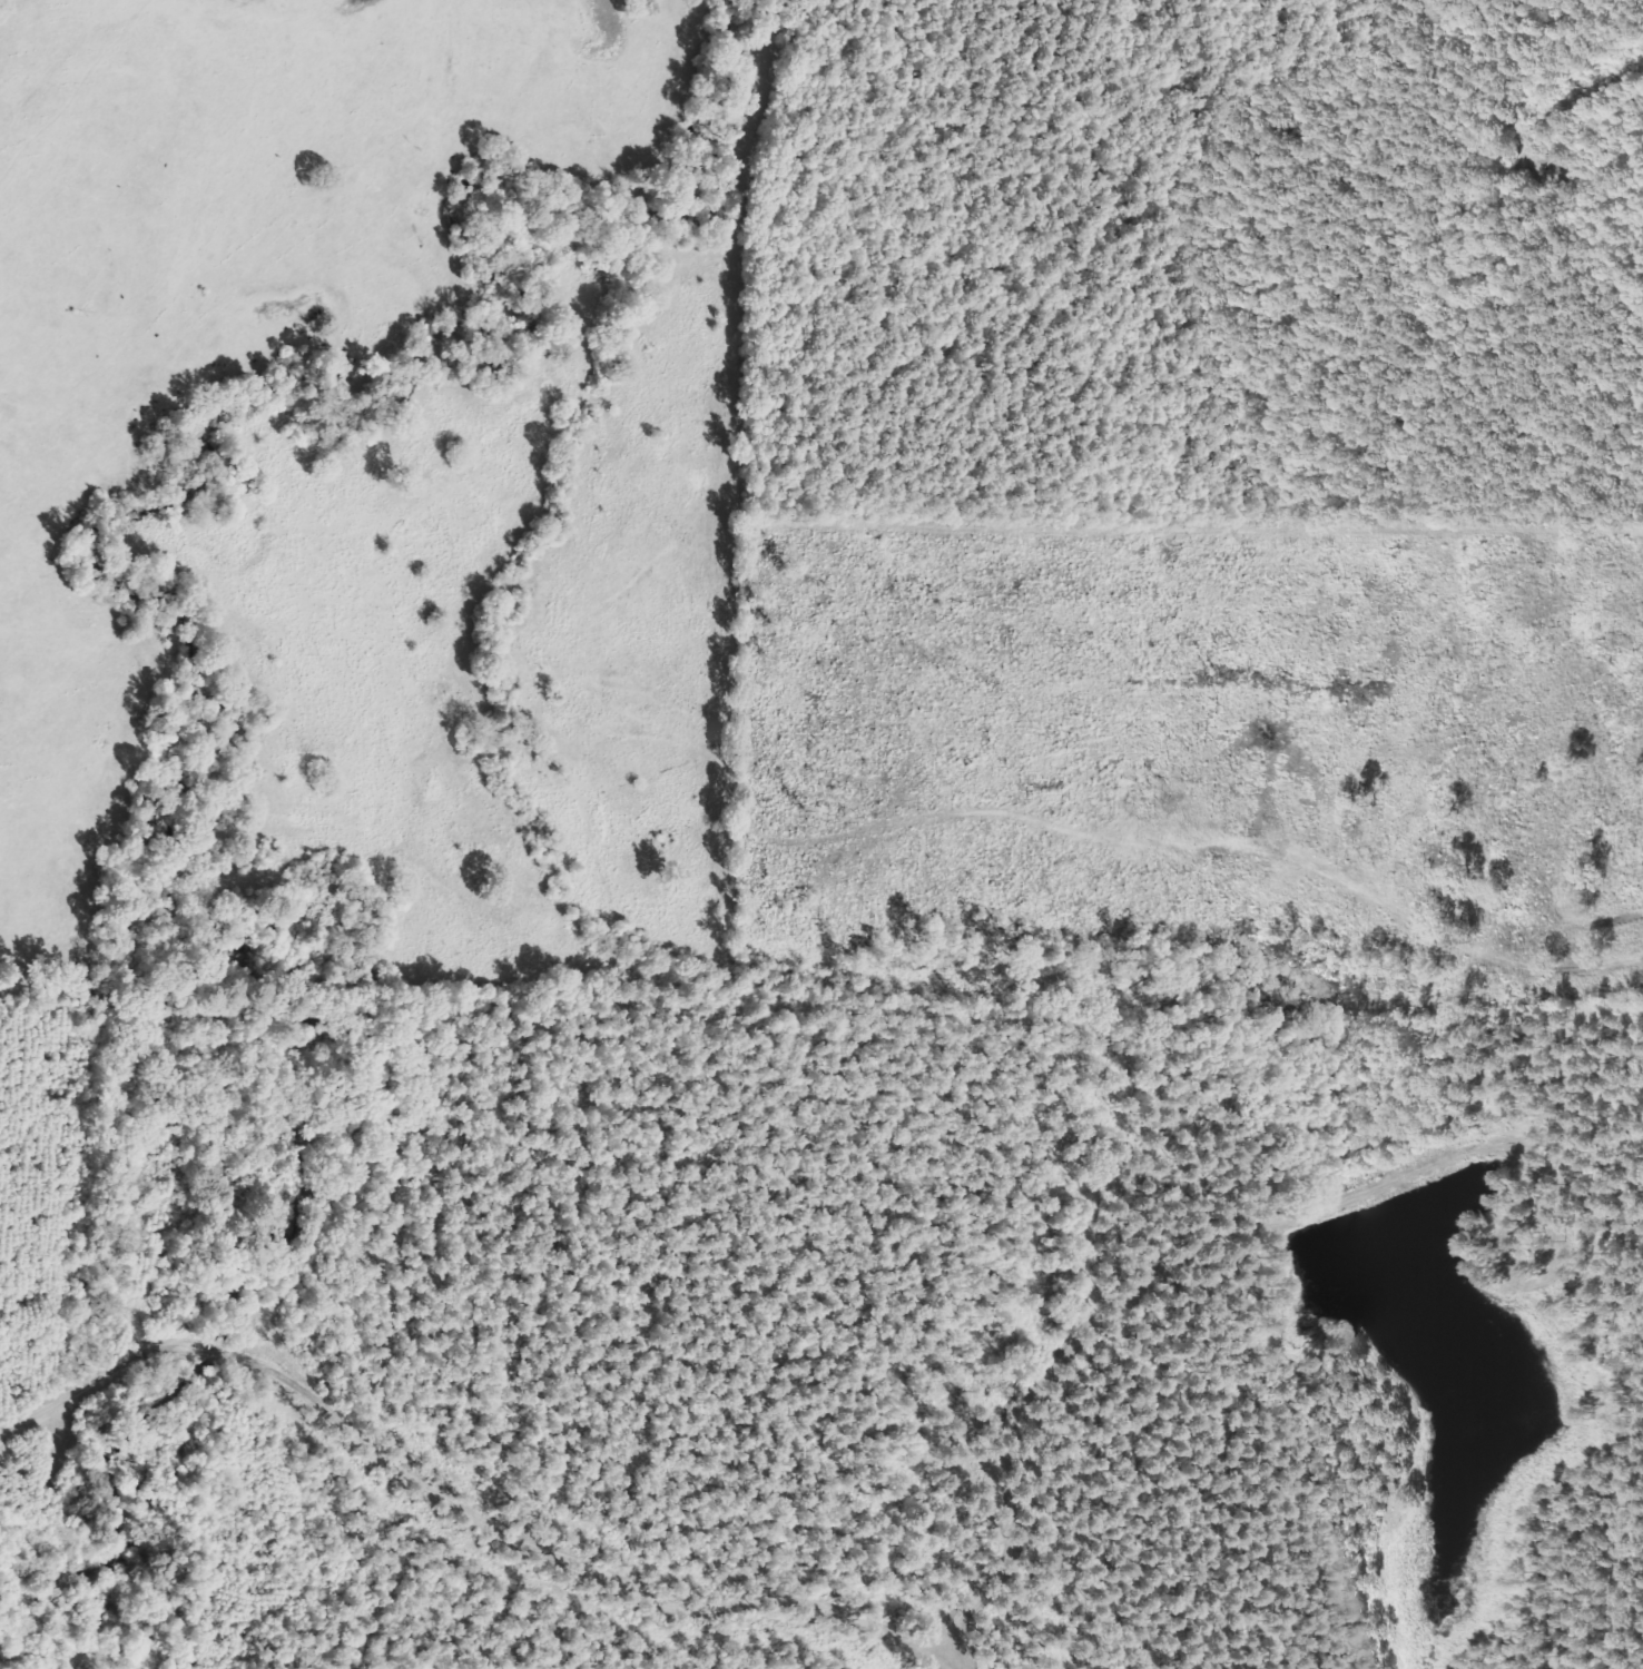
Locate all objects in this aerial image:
road: (494, 1513)

